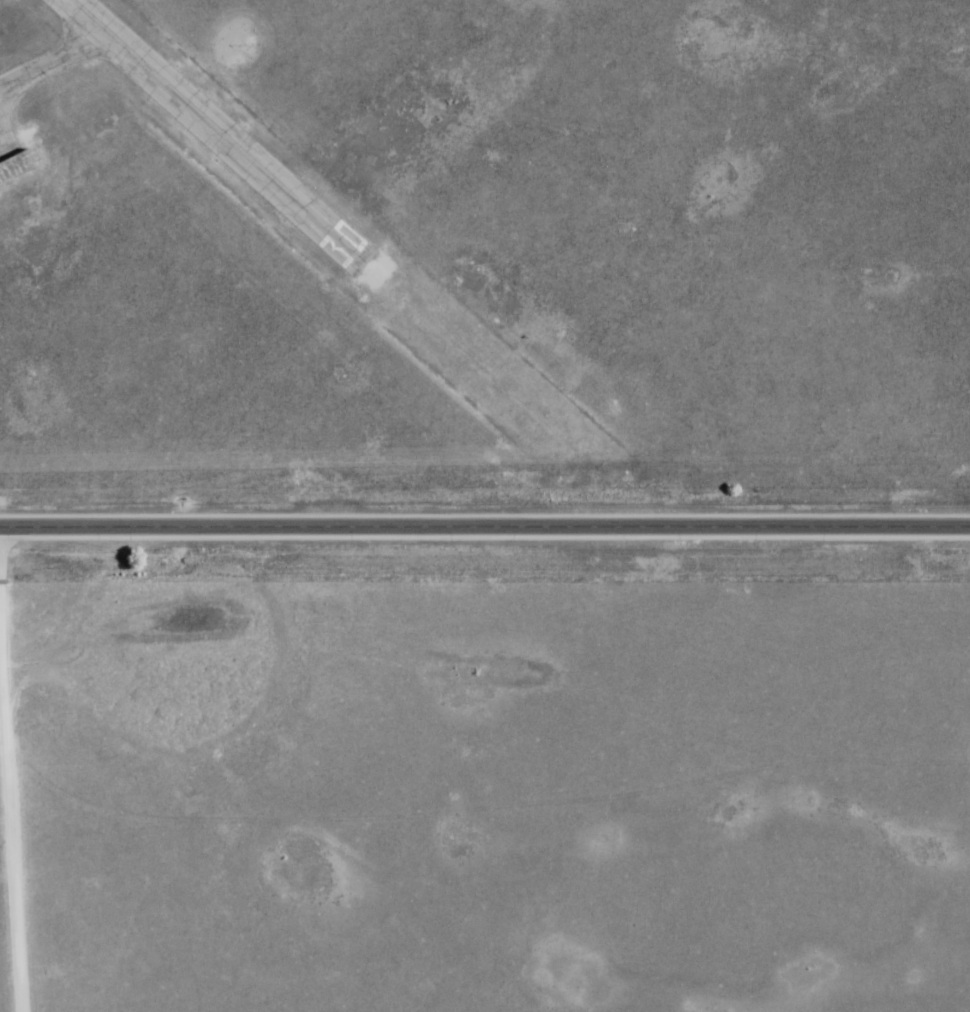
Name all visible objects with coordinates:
airport taxiway: (85, 30)
airport taxiway: (62, 58)
airport runway: (219, 132)
airport apron: (7, 139)
building: (16, 165)
road: (485, 528)
road: (11, 793)

